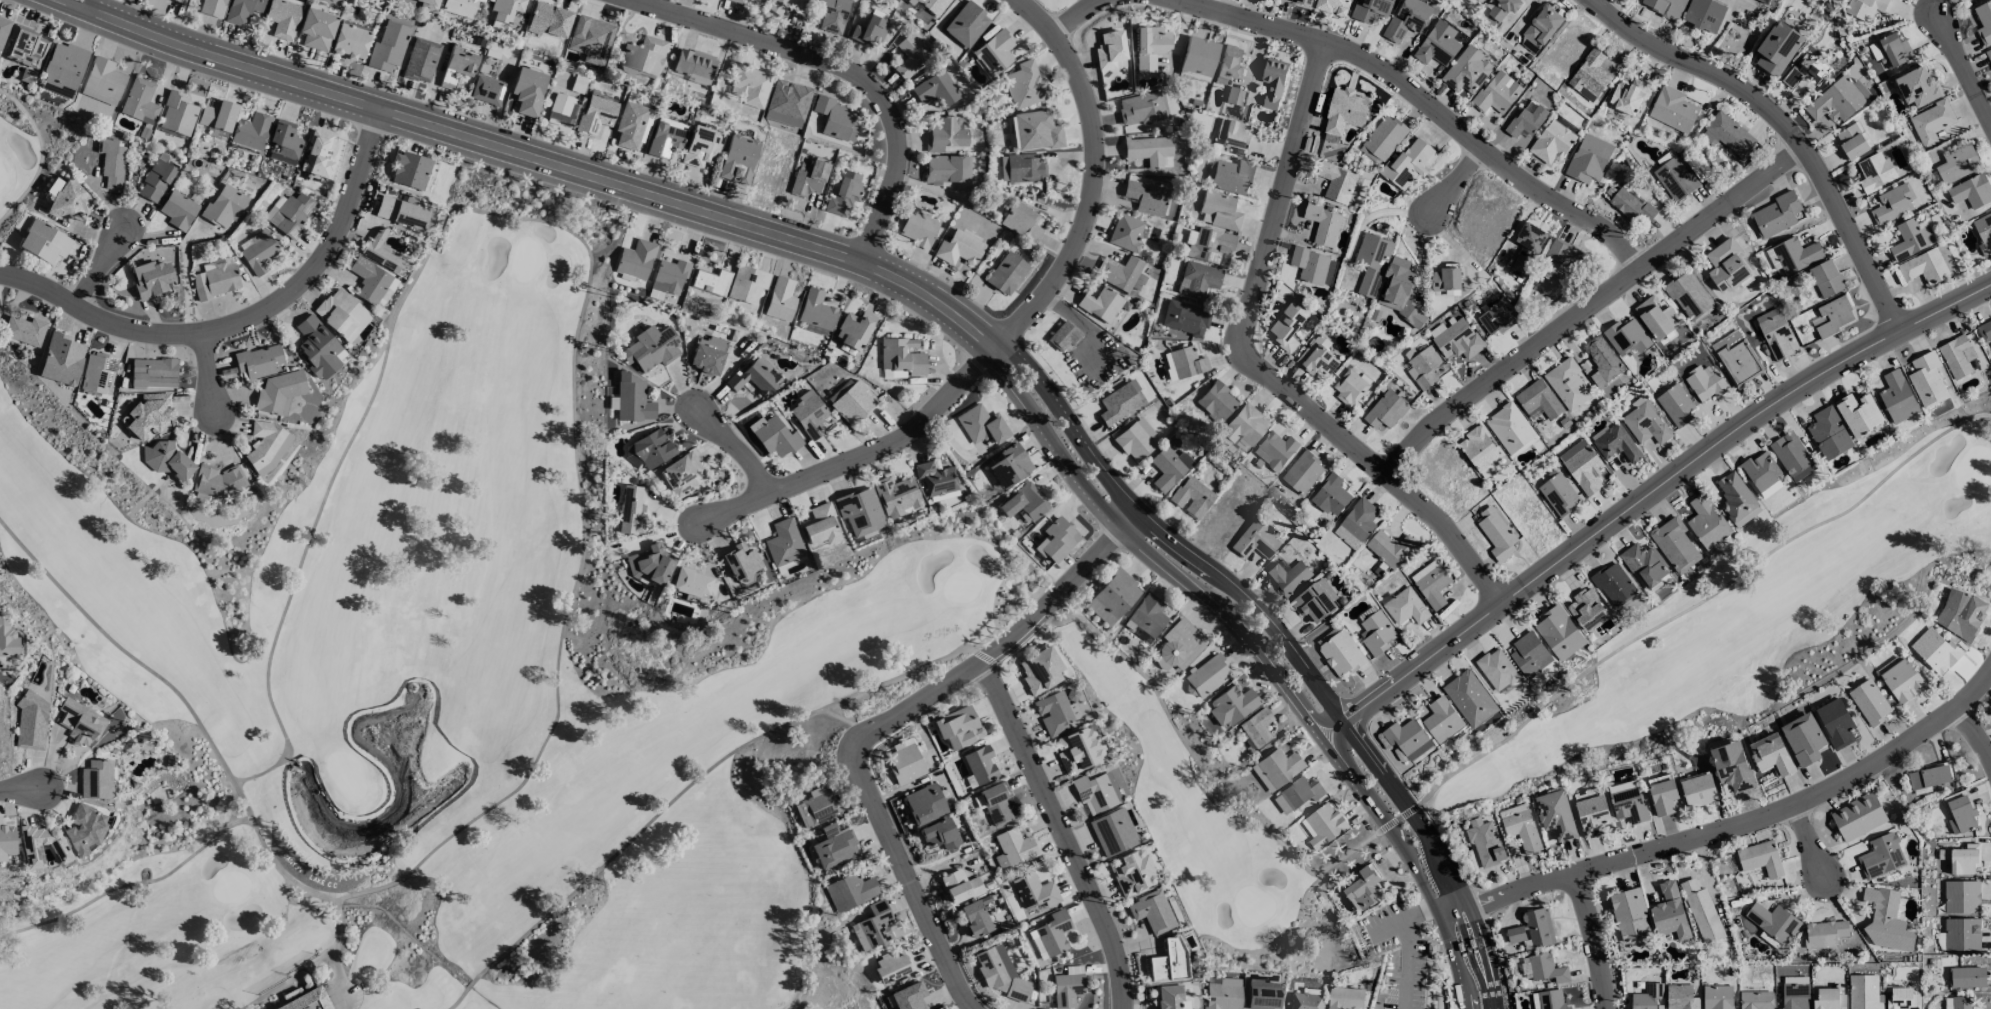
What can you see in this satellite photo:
building: (178, 1)
building: (736, 1)
building: (1763, 1)
building: (1303, 2)
road: (84, 4)
building: (428, 5)
building: (784, 5)
building: (933, 5)
building: (1334, 6)
building: (212, 7)
building: (460, 7)
building: (1665, 7)
building: (1503, 8)
building: (1864, 8)
building: (504, 9)
building: (1369, 9)
building: (241, 10)
building: (1704, 14)
building: (832, 15)
road: (1074, 16)
building: (282, 18)
building: (1408, 19)
building: (549, 20)
building: (1984, 22)
building: (965, 24)
building: (1542, 26)
building: (3, 29)
building: (316, 29)
building: (868, 30)
building: (590, 39)
building: (350, 41)
building: (1437, 44)
building: (388, 46)
building: (1149, 47)
building: (1777, 47)
building: (1109, 50)
building: (1891, 51)
building: (26, 52)
building: (993, 53)
building: (1988, 54)
building: (910, 55)
building: (643, 56)
building: (1198, 56)
building: (421, 60)
building: (1228, 64)
building: (457, 65)
building: (694, 67)
road: (1697, 67)
road: (839, 68)
building: (62, 69)
building: (1467, 70)
building: (1807, 70)
road: (1962, 70)
building: (1589, 75)
building: (1273, 81)
building: (577, 84)
building: (749, 85)
building: (1023, 85)
building: (1916, 86)
building: (100, 88)
building: (935, 89)
building: (486, 90)
building: (527, 91)
building: (1496, 93)
building: (1628, 96)
building: (1837, 100)
building: (139, 101)
road: (1423, 105)
building: (1140, 108)
building: (1672, 109)
building: (562, 110)
building: (1344, 112)
building: (177, 114)
building: (595, 114)
building: (217, 116)
building: (835, 119)
building: (1526, 119)
building: (1931, 122)
building: (1566, 124)
building: (629, 125)
building: (252, 131)
building: (1035, 131)
building: (944, 134)
building: (665, 137)
building: (1234, 137)
building: (1383, 137)
building: (1851, 141)
building: (1551, 142)
building: (283, 143)
park: (28, 146)
building: (700, 146)
building: (1148, 150)
building: (317, 154)
building: (1589, 158)
road: (533, 159)
building: (737, 159)
building: (111, 163)
building: (1409, 163)
building: (1957, 163)
building: (1022, 167)
building: (946, 168)
building: (409, 170)
building: (1874, 171)
building: (1231, 176)
building: (808, 178)
building: (1675, 178)
building: (155, 180)
building: (1336, 181)
road: (1452, 184)
building: (1971, 191)
building: (842, 193)
building: (1146, 197)
building: (69, 199)
building: (1892, 203)
building: (1631, 205)
building: (224, 206)
building: (178, 210)
building: (402, 210)
building: (1218, 211)
building: (288, 214)
building: (1775, 214)
building: (1020, 221)
building: (1323, 223)
building: (917, 228)
building: (1983, 231)
building: (1125, 232)
road: (1848, 234)
building: (1911, 238)
building: (44, 242)
building: (1210, 247)
building: (958, 248)
building: (1526, 248)
building: (257, 251)
building: (380, 252)
building: (1793, 255)
building: (1565, 256)
building: (635, 259)
building: (1371, 262)
building: (1309, 264)
road: (98, 265)
building: (1726, 265)
building: (1928, 265)
building: (1122, 276)
building: (669, 277)
building: (1826, 278)
building: (151, 279)
building: (1197, 279)
building: (214, 280)
building: (710, 281)
building: (1445, 281)
building: (372, 282)
building: (746, 284)
building: (1399, 290)
building: (1689, 296)
building: (780, 299)
building: (1100, 304)
road: (1588, 306)
building: (815, 313)
building: (341, 314)
building: (1656, 316)
building: (1832, 316)
building: (1495, 317)
building: (1184, 318)
road: (243, 319)
road: (1007, 328)
building: (853, 329)
building: (24, 331)
building: (1984, 331)
building: (1774, 332)
building: (1062, 336)
building: (1626, 337)
building: (1456, 338)
building: (716, 343)
building: (318, 347)
building: (651, 348)
building: (901, 356)
building: (1955, 356)
building: (1316, 357)
building: (1736, 357)
building: (61, 359)
building: (706, 359)
building: (1602, 360)
building: (258, 361)
building: (1186, 362)
road: (1253, 365)
building: (1423, 367)
building: (98, 373)
building: (153, 373)
road: (207, 373)
building: (755, 377)
building: (1926, 379)
building: (1567, 383)
building: (1704, 383)
building: (1350, 385)
building: (279, 392)
building: (1897, 396)
building: (632, 399)
building: (1538, 400)
building: (1216, 401)
building: (853, 402)
building: (1674, 404)
building: (1385, 409)
building: (1858, 413)
building: (149, 414)
building: (808, 415)
building: (1645, 424)
building: (980, 425)
road: (1064, 425)
building: (1244, 425)
building: (1509, 427)
building: (1828, 433)
building: (775, 437)
building: (1135, 440)
building: (1615, 442)
building: (265, 446)
road: (732, 448)
building: (1479, 448)
building: (1275, 450)
building: (648, 451)
building: (1792, 456)
building: (166, 459)
building: (1582, 466)
building: (1168, 467)
building: (1488, 470)
building: (1302, 472)
building: (681, 474)
building: (1762, 474)
building: (935, 478)
building: (217, 481)
building: (1557, 494)
road: (1648, 494)
building: (1330, 495)
building: (896, 496)
building: (1191, 497)
building: (1737, 499)
building: (1023, 502)
building: (631, 510)
building: (859, 511)
building: (1355, 522)
building: (1706, 522)
building: (820, 525)
building: (1496, 533)
building: (1055, 540)
building: (1255, 541)
building: (783, 543)
building: (1674, 544)
building: (1389, 548)
building: (740, 561)
building: (1642, 563)
building: (650, 565)
building: (1288, 576)
building: (1431, 583)
building: (1613, 583)
building: (693, 585)
building: (1112, 597)
building: (1315, 601)
road: (1695, 604)
road: (1248, 605)
building: (1405, 607)
building: (1586, 608)
building: (1960, 614)
building: (1146, 617)
road: (1227, 619)
park: (1745, 626)
building: (1558, 632)
building: (1376, 633)
building: (7, 646)
building: (1180, 646)
building: (1935, 650)
building: (1341, 654)
building: (1529, 654)
building: (1496, 669)
building: (1038, 670)
building: (1902, 680)
building: (1199, 682)
park: (453, 683)
building: (1469, 698)
building: (1869, 702)
building: (1231, 706)
building: (1055, 713)
building: (1441, 719)
building: (30, 722)
building: (79, 723)
road: (883, 723)
building: (1835, 723)
building: (956, 727)
building: (1254, 731)
road: (1976, 731)
building: (1407, 738)
building: (1803, 738)
building: (1078, 750)
building: (1770, 754)
building: (903, 764)
building: (981, 765)
building: (1731, 765)
road: (1198, 766)
building: (1279, 767)
park: (71, 768)
park: (71, 768)
building: (1929, 776)
building: (96, 780)
road: (27, 785)
road: (689, 785)
building: (1698, 789)
building: (1096, 793)
building: (1296, 794)
building: (1662, 797)
building: (1627, 801)
building: (995, 803)
building: (923, 804)
building: (820, 807)
road: (1407, 811)
building: (1962, 813)
building: (1555, 814)
building: (1592, 815)
building: (1858, 816)
road: (1731, 824)
building: (1323, 825)
building: (1520, 826)
building: (83, 829)
building: (1116, 829)
park: (1212, 830)
road: (1059, 832)
building: (937, 834)
building: (6, 841)
building: (1485, 842)
road: (1809, 842)
building: (1012, 848)
building: (31, 853)
building: (1880, 856)
building: (1760, 860)
building: (1963, 860)
building: (1131, 872)
building: (959, 886)
building: (1364, 887)
building: (850, 891)
building: (1961, 896)
building: (1032, 897)
building: (1701, 911)
building: (1151, 912)
building: (1669, 912)
building: (1629, 914)
building: (974, 918)
road: (1401, 919)
building: (1886, 921)
road: (1460, 924)
building: (1772, 924)
building: (872, 926)
road: (1479, 926)
building: (1532, 929)
building: (1824, 933)
building: (1961, 934)
building: (1046, 936)
road: (1596, 939)
road: (1453, 954)
road: (1481, 955)
parking lot: (1397, 960)
road: (1405, 964)
building: (892, 965)
building: (1543, 968)
building: (1000, 974)
road: (1476, 974)
building: (1967, 976)
road: (1493, 977)
building: (1066, 990)
building: (1864, 992)
building: (1223, 994)
road: (280, 995)
building: (1262, 995)
building: (1647, 996)
building: (1717, 996)
building: (1795, 996)
building: (1680, 997)
building: (1344, 998)
building: (1902, 998)
building: (1306, 999)
park: (1433, 999)
building: (1829, 999)
building: (308, 1000)
road: (1465, 1000)
building: (1548, 1000)
building: (1755, 1000)
building: (1957, 1002)
road: (265, 1003)
road: (1492, 1007)

